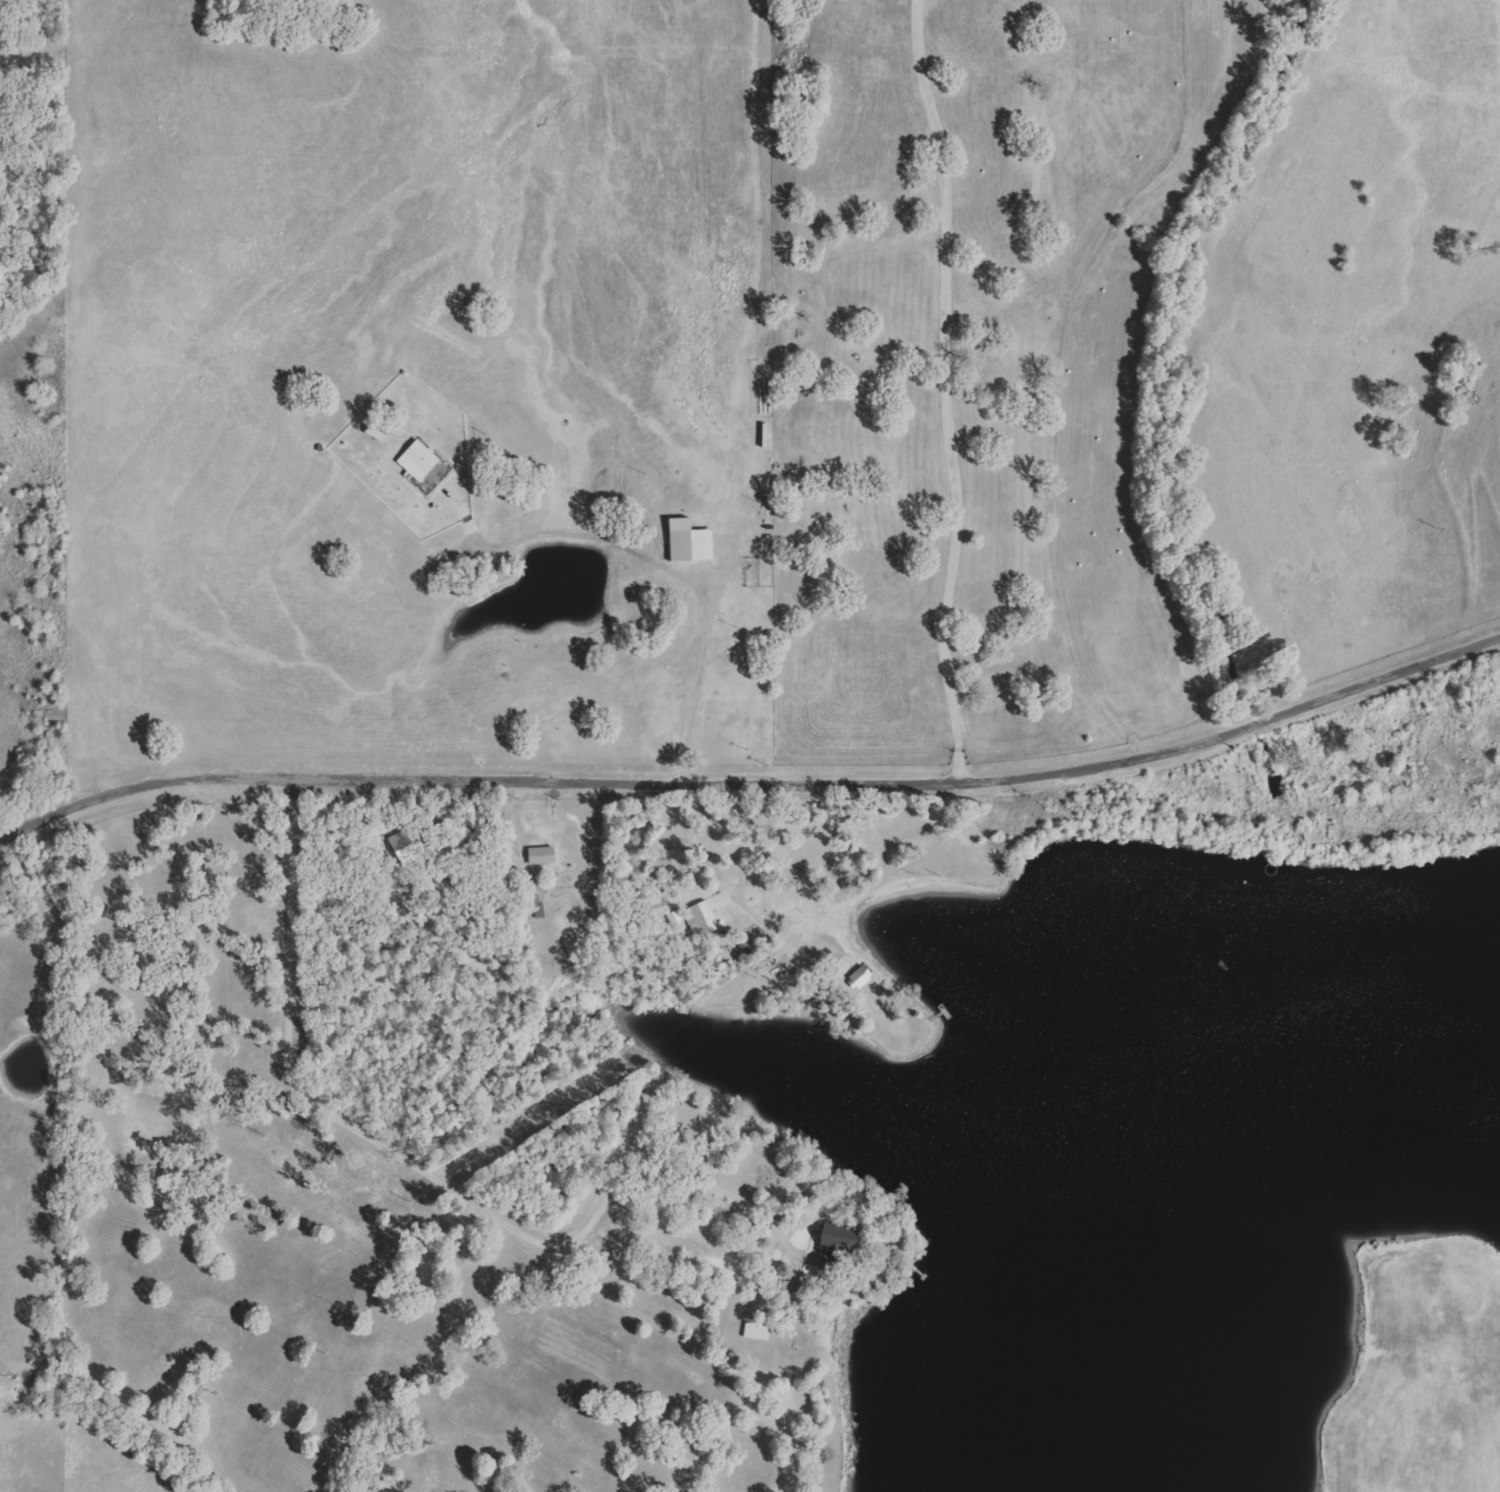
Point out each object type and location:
road: (947, 388)
building: (422, 461)
power tower: (1431, 531)
building: (693, 542)
road: (680, 575)
power tower: (1245, 655)
road: (754, 783)
building: (545, 856)
power tower: (904, 875)
power tower: (747, 978)
power tower: (583, 1090)
road: (423, 1166)
power tower: (406, 1199)
building: (838, 1247)
building: (760, 1332)
power tower: (316, 1353)

